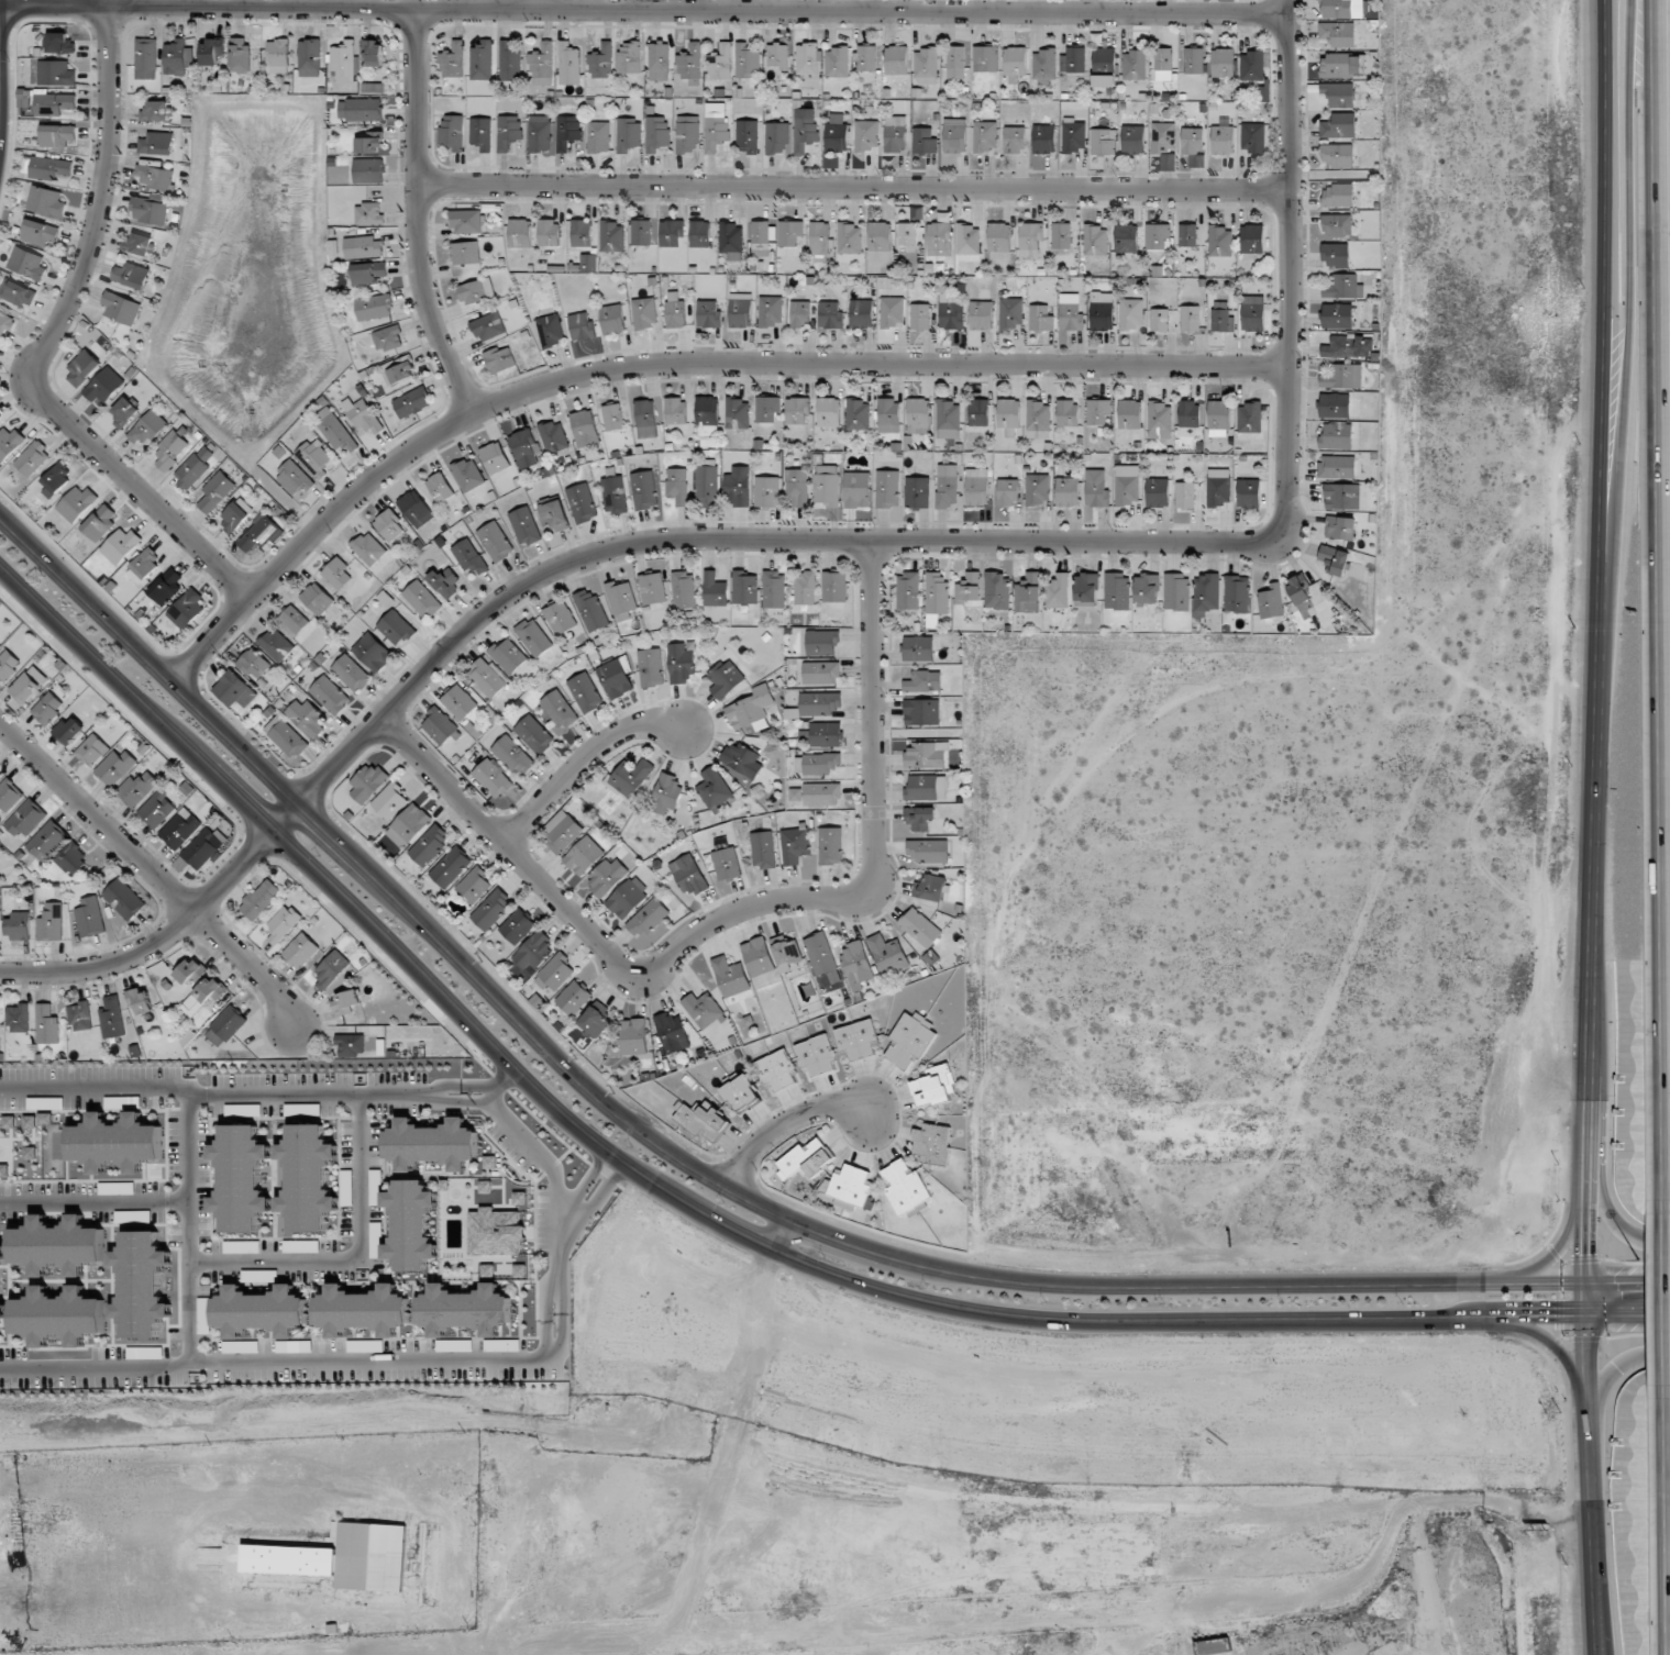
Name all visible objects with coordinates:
road: (110, 3)
road: (538, 4)
building: (1341, 8)
road: (645, 10)
building: (1337, 34)
building: (59, 43)
building: (211, 52)
building: (373, 53)
building: (240, 55)
building: (777, 55)
building: (278, 56)
building: (629, 56)
building: (177, 57)
building: (309, 57)
building: (865, 57)
building: (986, 57)
building: (146, 58)
building: (807, 58)
building: (482, 59)
building: (1073, 59)
building: (453, 60)
building: (659, 60)
building: (746, 60)
building: (896, 60)
building: (1015, 60)
building: (1194, 60)
building: (509, 62)
building: (601, 62)
building: (689, 62)
building: (837, 62)
building: (955, 62)
building: (342, 63)
building: (720, 63)
building: (1223, 63)
building: (568, 64)
building: (1163, 64)
building: (542, 65)
building: (1135, 65)
building: (1340, 65)
building: (926, 66)
building: (1104, 66)
building: (1252, 66)
building: (55, 73)
building: (1263, 93)
building: (1339, 95)
building: (55, 104)
building: (360, 109)
building: (155, 111)
building: (1338, 126)
building: (804, 129)
building: (452, 132)
building: (508, 132)
building: (567, 132)
building: (480, 133)
building: (656, 133)
building: (716, 133)
building: (836, 133)
building: (539, 134)
building: (628, 134)
building: (687, 134)
building: (895, 134)
building: (57, 135)
building: (865, 135)
building: (954, 135)
building: (1073, 135)
building: (598, 136)
building: (748, 136)
building: (985, 136)
building: (1163, 136)
building: (776, 137)
building: (1253, 137)
building: (1015, 138)
building: (1043, 138)
building: (368, 140)
building: (1132, 140)
building: (1223, 140)
building: (924, 141)
building: (1103, 141)
building: (156, 143)
building: (1193, 145)
building: (1337, 155)
building: (1168, 162)
building: (48, 167)
building: (367, 170)
building: (153, 176)
road: (855, 190)
building: (1337, 196)
building: (45, 202)
building: (148, 209)
building: (917, 212)
building: (368, 213)
road: (419, 218)
building: (466, 221)
building: (1337, 224)
building: (40, 232)
building: (548, 232)
building: (641, 232)
building: (671, 232)
building: (789, 232)
building: (520, 233)
building: (580, 233)
building: (907, 233)
building: (699, 234)
building: (1187, 234)
building: (1061, 235)
building: (611, 236)
building: (939, 236)
building: (1158, 236)
building: (820, 237)
building: (999, 237)
building: (1126, 237)
building: (760, 238)
building: (849, 238)
building: (1251, 238)
building: (967, 240)
building: (731, 241)
building: (880, 241)
building: (1030, 241)
building: (1095, 241)
building: (1220, 241)
building: (139, 244)
building: (363, 246)
building: (465, 253)
building: (1335, 254)
road: (1291, 262)
building: (27, 263)
building: (588, 263)
building: (369, 273)
building: (130, 275)
building: (1343, 287)
building: (476, 291)
building: (18, 292)
building: (373, 307)
building: (121, 308)
building: (675, 310)
building: (740, 310)
building: (770, 311)
building: (1070, 311)
building: (1102, 311)
building: (644, 312)
building: (892, 312)
building: (951, 312)
building: (1010, 312)
building: (861, 313)
building: (1131, 313)
building: (1253, 313)
building: (709, 314)
building: (800, 314)
building: (830, 314)
building: (981, 315)
building: (1337, 315)
building: (920, 316)
building: (1040, 318)
building: (1221, 318)
building: (612, 319)
building: (1190, 319)
building: (1159, 320)
building: (5, 323)
building: (488, 326)
building: (582, 326)
building: (551, 330)
building: (387, 338)
road: (1607, 344)
road: (1634, 345)
building: (1349, 346)
road: (47, 347)
building: (500, 359)
road: (676, 366)
building: (82, 368)
building: (400, 369)
building: (1342, 376)
building: (103, 385)
building: (411, 402)
building: (1335, 406)
building: (767, 409)
building: (675, 410)
building: (797, 410)
building: (829, 411)
building: (1097, 411)
building: (124, 412)
building: (978, 412)
building: (737, 413)
building: (1066, 413)
building: (1129, 413)
building: (1188, 413)
building: (858, 414)
building: (1218, 414)
building: (707, 415)
building: (887, 415)
building: (918, 415)
building: (1008, 415)
building: (364, 416)
building: (612, 416)
building: (1250, 418)
building: (645, 419)
building: (948, 419)
building: (1038, 420)
building: (1160, 421)
building: (147, 427)
building: (585, 429)
building: (553, 436)
building: (1336, 436)
building: (8, 443)
building: (524, 447)
building: (170, 449)
building: (495, 457)
building: (32, 458)
building: (316, 458)
building: (1337, 466)
building: (193, 467)
building: (467, 474)
building: (55, 479)
building: (295, 479)
building: (706, 482)
building: (1128, 484)
building: (827, 485)
building: (677, 486)
building: (947, 486)
building: (440, 487)
building: (737, 487)
building: (976, 487)
building: (1218, 487)
building: (796, 488)
building: (1038, 488)
building: (1096, 488)
building: (643, 489)
building: (856, 489)
building: (887, 489)
building: (215, 491)
building: (766, 491)
building: (917, 491)
building: (1008, 491)
building: (1068, 491)
building: (1157, 492)
building: (1248, 492)
building: (613, 493)
building: (1185, 496)
building: (1341, 496)
building: (76, 503)
building: (582, 503)
building: (416, 508)
building: (554, 514)
building: (236, 515)
building: (100, 523)
building: (388, 524)
building: (524, 525)
building: (1339, 527)
building: (261, 533)
building: (495, 541)
building: (120, 545)
building: (368, 548)
building: (468, 556)
building: (1335, 559)
building: (146, 563)
road: (572, 565)
building: (338, 574)
building: (445, 580)
building: (167, 586)
building: (744, 587)
building: (805, 587)
building: (834, 587)
building: (969, 588)
building: (1147, 588)
building: (652, 589)
building: (774, 589)
building: (1086, 589)
building: (1298, 589)
building: (684, 590)
building: (715, 590)
building: (908, 590)
building: (996, 590)
building: (1116, 590)
building: (1058, 591)
building: (1176, 591)
building: (937, 592)
building: (1028, 593)
building: (1206, 593)
building: (1237, 593)
building: (317, 598)
building: (421, 599)
road: (1658, 600)
building: (1271, 601)
building: (187, 609)
building: (590, 609)
building: (560, 618)
building: (294, 620)
building: (396, 627)
building: (533, 636)
building: (821, 642)
building: (276, 645)
building: (918, 648)
building: (372, 652)
building: (508, 655)
building: (254, 663)
building: (681, 664)
building: (8, 665)
building: (650, 667)
building: (352, 673)
building: (820, 673)
building: (616, 677)
building: (486, 678)
building: (725, 678)
building: (924, 681)
building: (29, 684)
building: (234, 690)
building: (585, 692)
building: (329, 695)
building: (460, 702)
building: (819, 703)
building: (47, 708)
building: (751, 709)
building: (558, 710)
building: (921, 712)
building: (307, 718)
building: (440, 725)
building: (68, 731)
building: (534, 734)
building: (825, 734)
building: (286, 736)
building: (91, 749)
building: (513, 755)
building: (926, 755)
building: (741, 759)
road: (582, 762)
building: (816, 763)
building: (115, 767)
building: (0, 775)
building: (630, 777)
building: (493, 778)
building: (368, 784)
building: (137, 788)
building: (926, 788)
building: (715, 789)
building: (665, 795)
building: (816, 795)
building: (9, 796)
building: (389, 800)
building: (156, 809)
building: (919, 818)
building: (408, 825)
building: (180, 829)
building: (561, 830)
building: (47, 841)
building: (429, 844)
building: (794, 845)
building: (830, 845)
building: (202, 848)
building: (763, 849)
building: (927, 851)
building: (583, 855)
building: (71, 859)
building: (727, 864)
building: (451, 866)
road: (151, 875)
building: (689, 875)
building: (608, 876)
building: (474, 885)
building: (929, 888)
building: (627, 898)
building: (123, 899)
building: (259, 899)
building: (491, 909)
road: (741, 911)
building: (89, 918)
building: (648, 918)
building: (51, 922)
building: (283, 923)
building: (19, 926)
building: (517, 926)
building: (919, 928)
building: (300, 949)
building: (534, 949)
building: (887, 954)
building: (788, 955)
building: (757, 956)
building: (822, 962)
building: (856, 964)
building: (190, 970)
building: (330, 970)
building: (556, 971)
building: (730, 976)
building: (206, 993)
building: (573, 997)
building: (346, 1001)
building: (703, 1009)
building: (80, 1015)
building: (112, 1018)
building: (19, 1019)
building: (596, 1020)
building: (47, 1024)
building: (225, 1025)
building: (672, 1032)
building: (633, 1036)
building: (856, 1038)
building: (909, 1038)
building: (351, 1045)
building: (816, 1054)
building: (776, 1069)
road: (501, 1081)
building: (933, 1086)
road: (461, 1088)
building: (741, 1092)
road: (213, 1096)
road: (460, 1100)
building: (45, 1103)
building: (248, 1111)
building: (45, 1119)
building: (701, 1121)
building: (9, 1122)
building: (30, 1122)
road: (783, 1126)
building: (117, 1142)
building: (932, 1143)
building: (431, 1144)
building: (30, 1153)
building: (805, 1159)
road: (1589, 1162)
building: (4, 1170)
building: (308, 1177)
building: (241, 1178)
road: (361, 1178)
road: (555, 1179)
road: (714, 1179)
building: (849, 1185)
building: (375, 1187)
building: (485, 1187)
building: (905, 1187)
building: (117, 1188)
road: (584, 1188)
building: (520, 1198)
road: (591, 1206)
road: (1606, 1208)
building: (123, 1217)
road: (715, 1222)
building: (410, 1225)
road: (189, 1230)
building: (495, 1232)
road: (784, 1236)
building: (376, 1240)
building: (58, 1245)
building: (241, 1246)
building: (301, 1246)
traffic signals: (1589, 1251)
road: (1558, 1252)
building: (2, 1254)
road: (275, 1262)
building: (519, 1271)
building: (142, 1284)
traffic signals: (1624, 1286)
road: (1665, 1302)
building: (363, 1310)
building: (465, 1310)
building: (2, 1311)
building: (261, 1311)
building: (58, 1315)
building: (203, 1315)
traffic signals: (1550, 1320)
road: (549, 1321)
road: (560, 1326)
building: (453, 1345)
building: (294, 1346)
building: (365, 1346)
building: (145, 1353)
road: (1561, 1359)
road: (355, 1362)
road: (81, 1369)
road: (1615, 1370)
road: (1667, 1530)
building: (372, 1556)
building: (290, 1559)
road: (1597, 1644)
road: (1599, 1644)
building: (1213, 1646)

